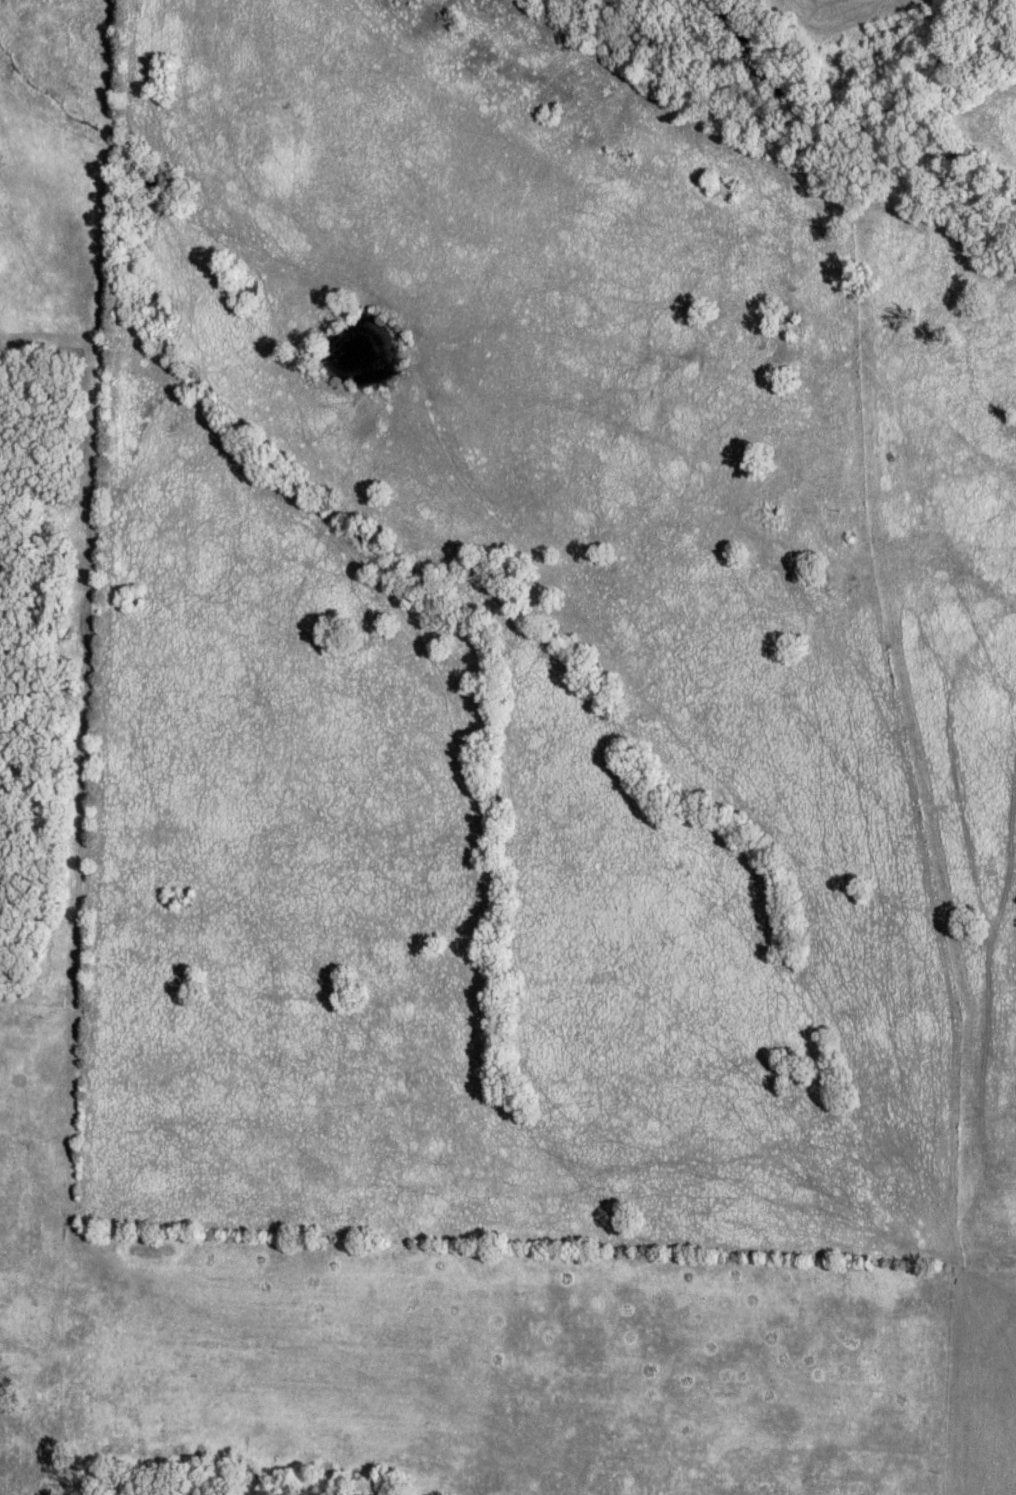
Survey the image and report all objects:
road: (953, 565)

